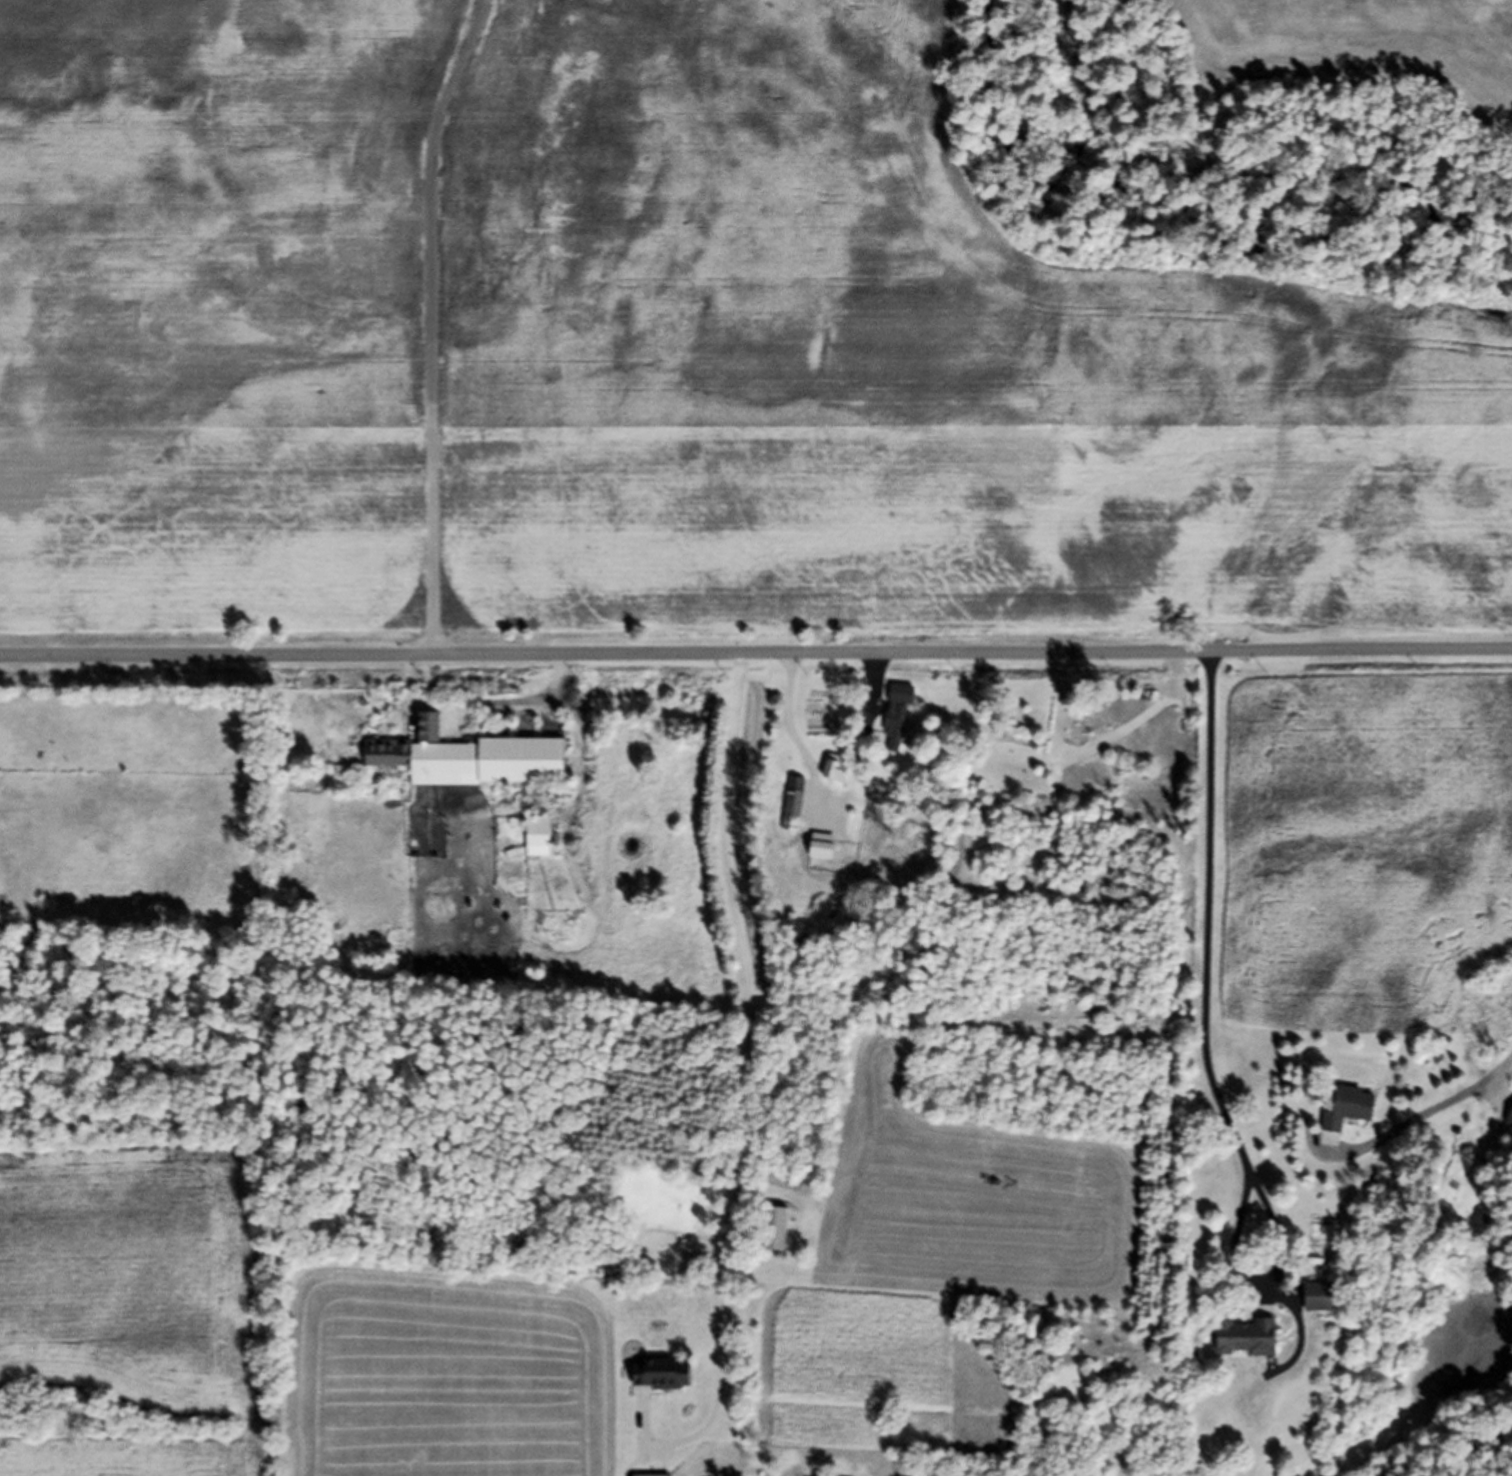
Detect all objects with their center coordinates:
road: (432, 324)
road: (756, 654)
building: (891, 725)
building: (465, 767)
building: (789, 808)
building: (531, 842)
building: (812, 858)
road: (1203, 1038)
road: (749, 1086)
building: (1342, 1113)
road: (1421, 1120)
building: (1508, 1120)
building: (770, 1235)
building: (1236, 1346)
building: (651, 1382)

